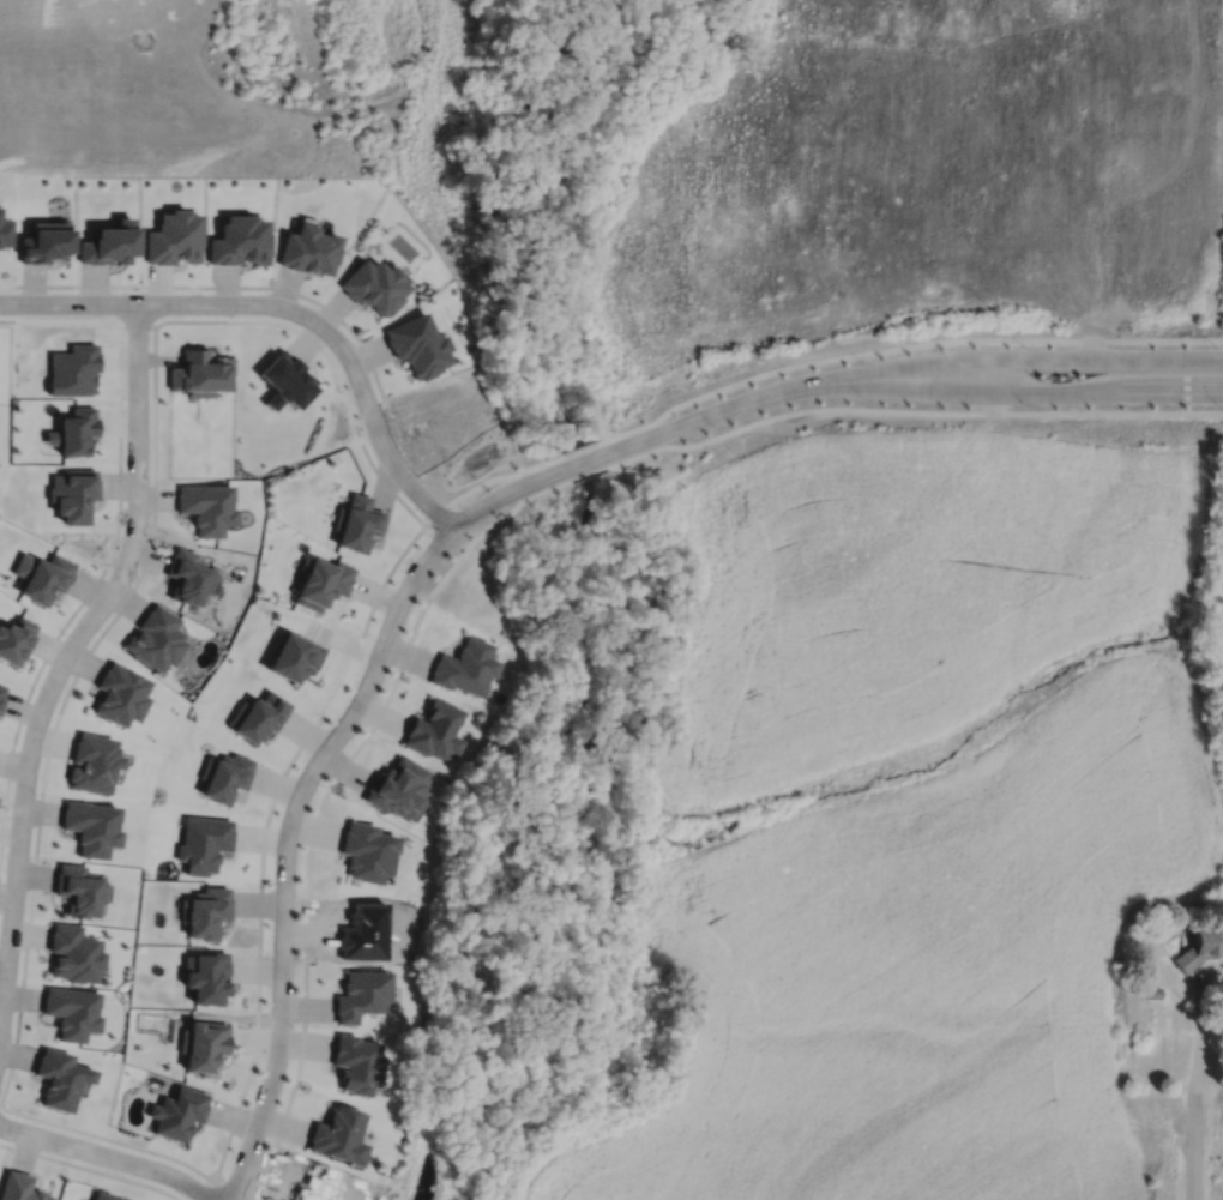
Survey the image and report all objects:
park: (82, 0)
crop: (920, 175)
building: (4, 231)
building: (173, 236)
building: (240, 239)
building: (46, 241)
building: (108, 241)
building: (309, 248)
building: (375, 284)
road: (219, 285)
street lamp: (17, 291)
street lamp: (140, 291)
street lamp: (267, 293)
road: (285, 307)
road: (137, 325)
building: (418, 344)
street lamp: (355, 345)
street lamp: (1216, 345)
street lamp: (1024, 346)
road: (1054, 358)
road: (805, 361)
street lamp: (863, 361)
building: (71, 369)
building: (199, 372)
building: (285, 379)
road: (1055, 392)
street lamp: (864, 397)
street lamp: (126, 398)
road: (742, 402)
street lamp: (1023, 403)
street lamp: (1217, 404)
road: (354, 426)
street lamp: (715, 426)
building: (74, 430)
road: (585, 460)
street lamp: (541, 464)
street lamp: (422, 480)
building: (73, 494)
building: (206, 507)
building: (357, 523)
street lamp: (146, 535)
road: (113, 544)
street lamp: (444, 557)
building: (43, 577)
building: (187, 577)
building: (321, 583)
street lamp: (65, 634)
building: (155, 639)
street lamp: (373, 639)
building: (16, 640)
building: (294, 656)
road: (62, 661)
building: (466, 668)
road: (394, 679)
building: (120, 695)
building: (2, 697)
building: (258, 717)
building: (435, 730)
building: (95, 765)
building: (224, 777)
road: (305, 783)
street lamp: (319, 783)
building: (398, 789)
street lamp: (36, 794)
crop: (916, 816)
building: (90, 826)
building: (204, 843)
building: (368, 850)
street lamp: (273, 882)
building: (78, 886)
building: (205, 910)
building: (367, 935)
building: (1201, 946)
building: (73, 951)
building: (206, 973)
building: (363, 991)
building: (1156, 991)
building: (1145, 993)
building: (72, 1011)
street lamp: (291, 1025)
building: (204, 1044)
building: (359, 1067)
building: (61, 1077)
road: (1194, 1089)
road: (0, 1102)
building: (177, 1111)
building: (339, 1134)
street lamp: (6, 1139)
street lamp: (264, 1140)
road: (108, 1156)
road: (90, 1169)
building: (318, 1186)
building: (22, 1187)
street lamp: (181, 1195)
building: (103, 1196)

